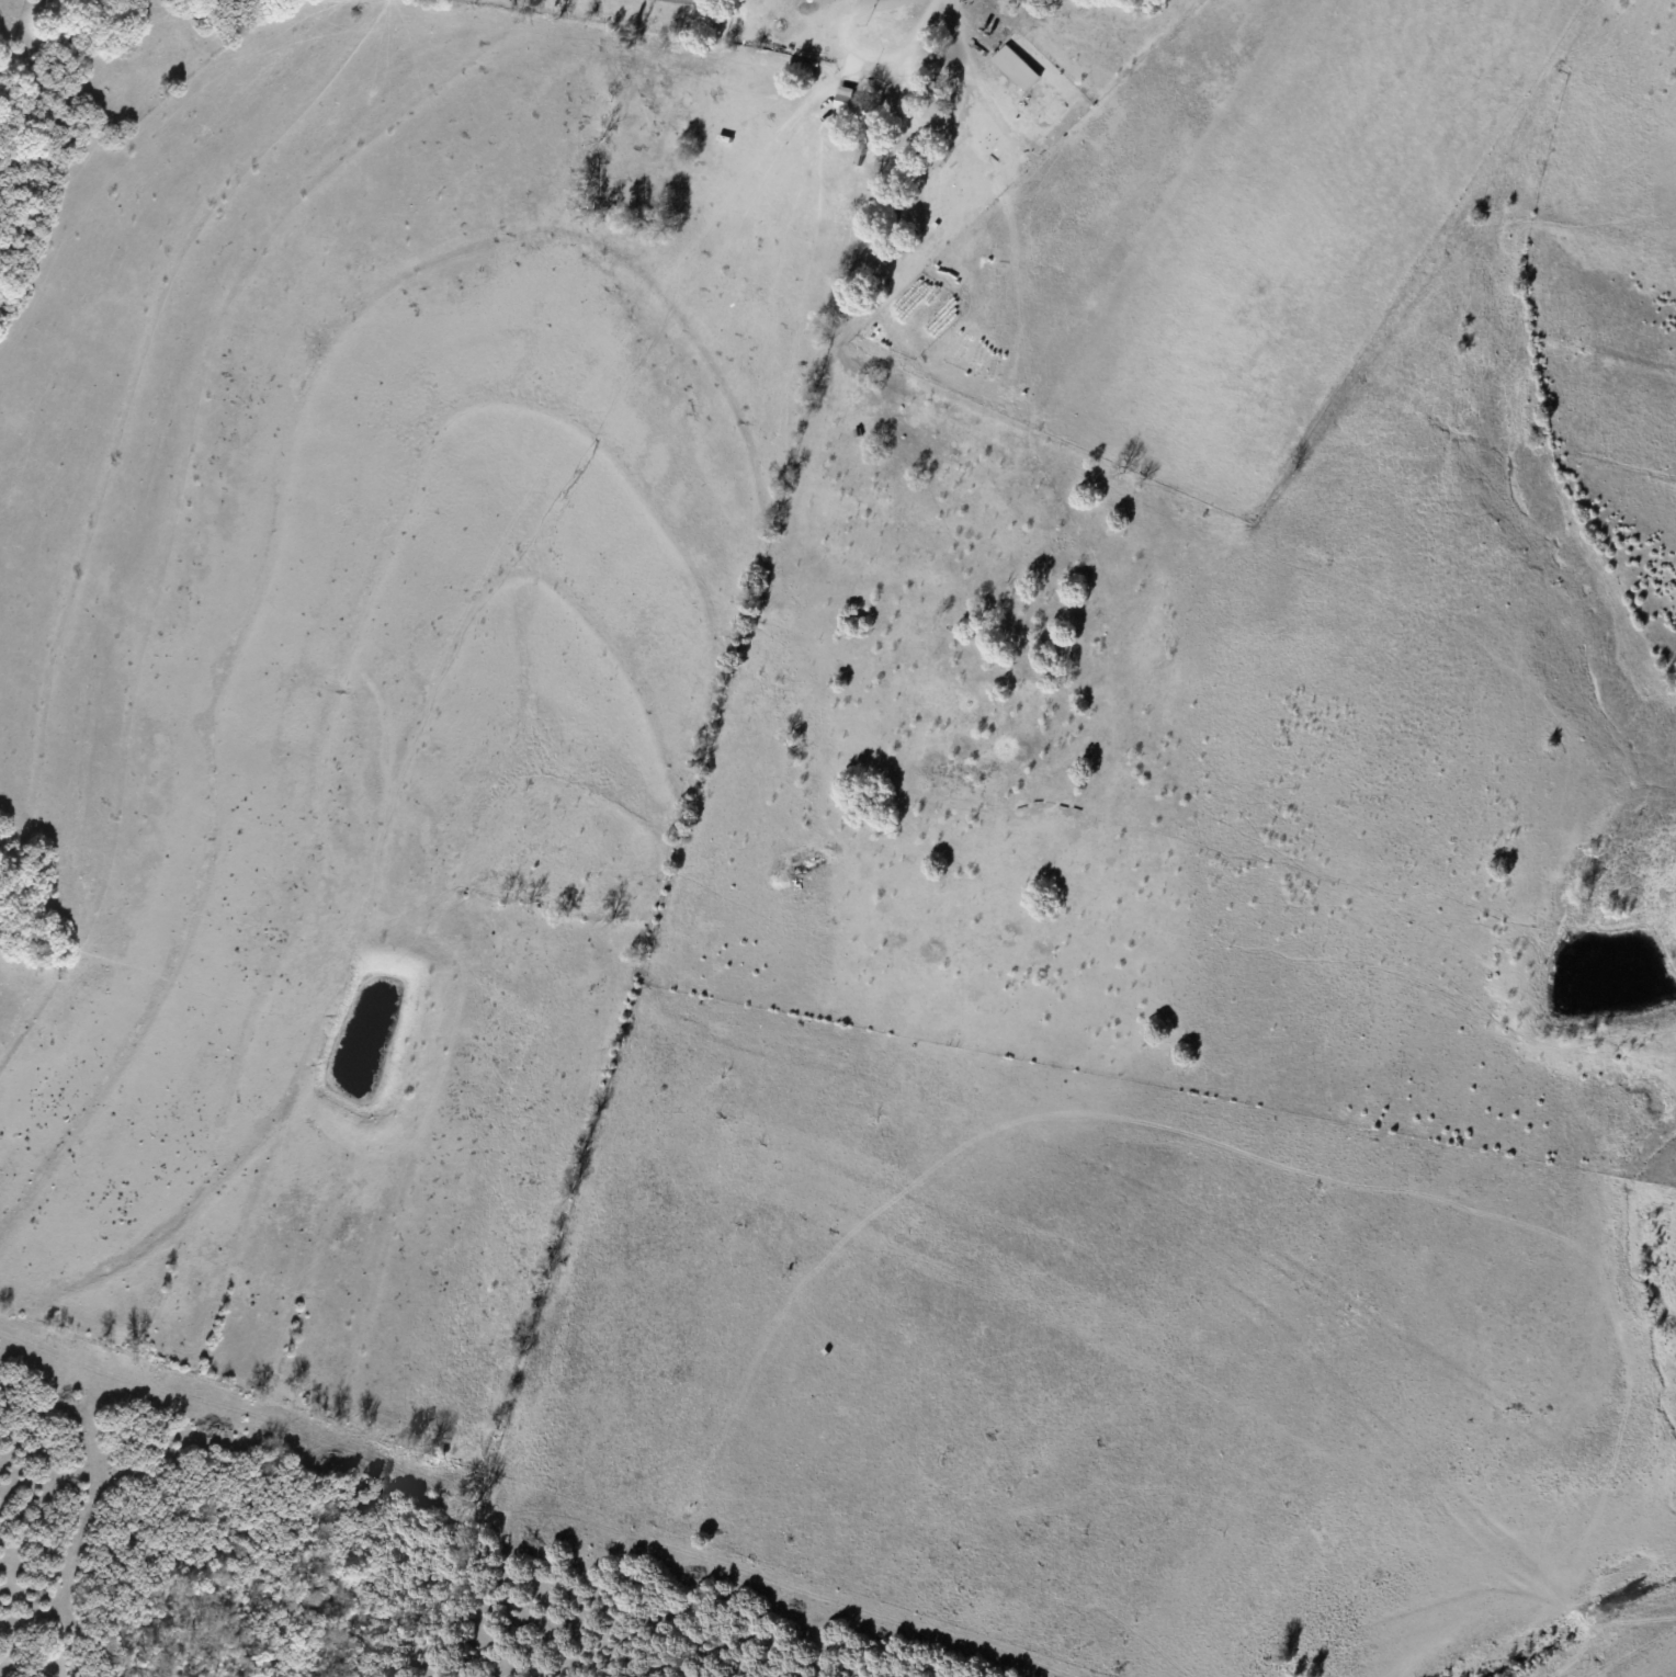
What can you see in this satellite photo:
building: (1016, 67)
building: (863, 109)

